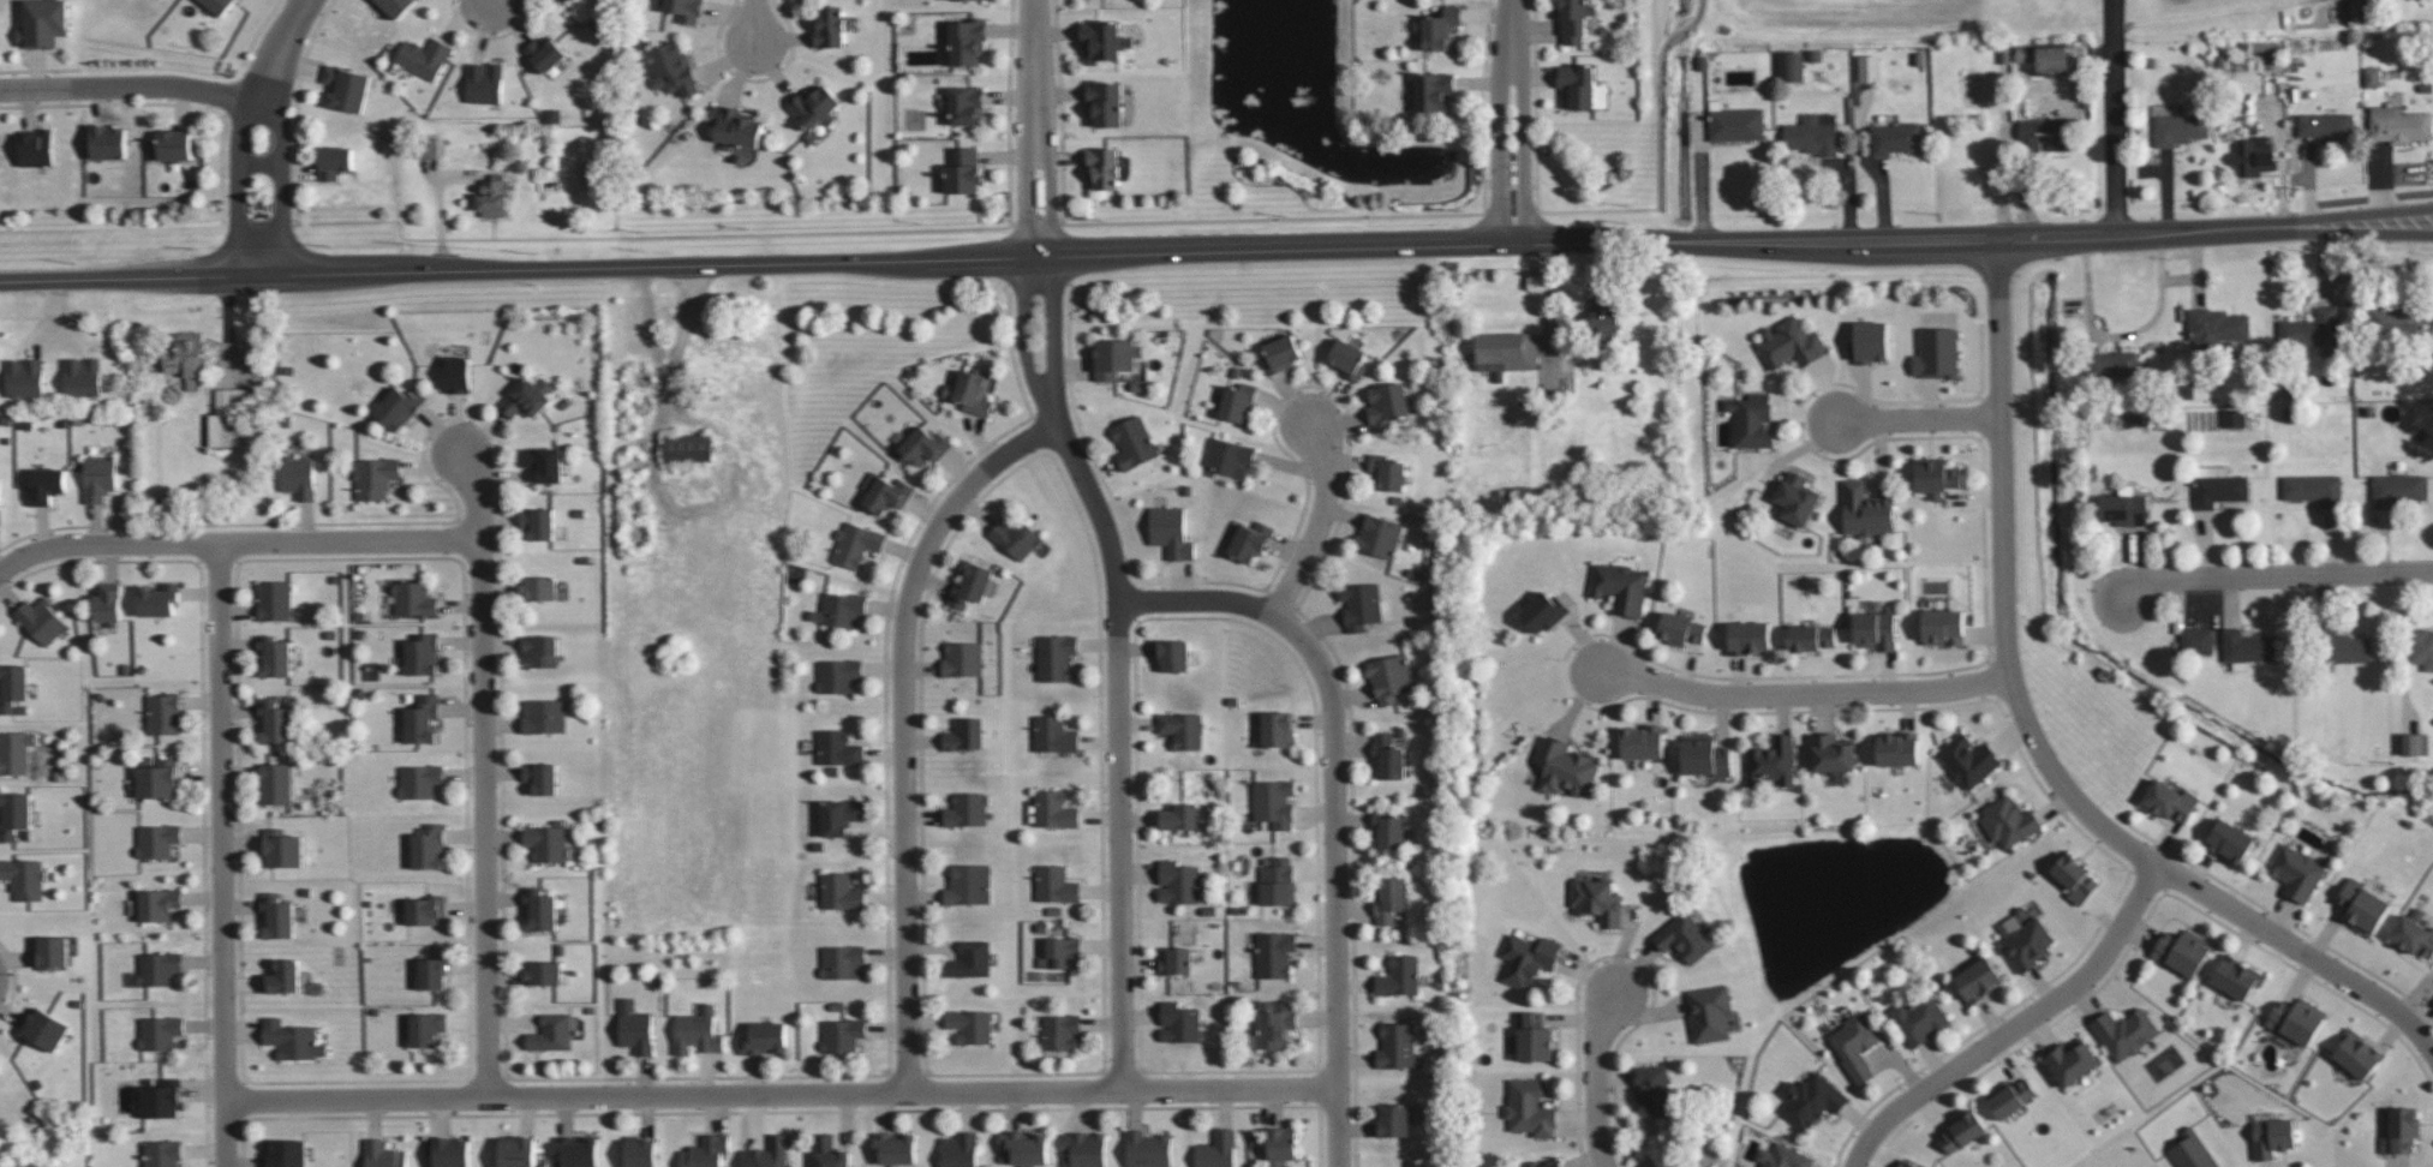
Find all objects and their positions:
building: (551, 0)
road: (492, 1)
building: (220, 5)
building: (396, 6)
building: (685, 8)
building: (1573, 18)
road: (749, 19)
building: (44, 23)
building: (830, 26)
building: (1437, 26)
building: (1102, 40)
building: (967, 41)
road: (279, 49)
building: (545, 53)
building: (2023, 53)
building: (424, 56)
building: (2052, 60)
building: (1793, 66)
building: (1867, 67)
building: (674, 68)
building: (2373, 77)
building: (485, 82)
building: (1578, 84)
building: (346, 88)
road: (133, 89)
building: (1433, 90)
road: (1662, 100)
building: (1105, 102)
building: (964, 104)
building: (815, 106)
road: (2112, 116)
road: (1500, 122)
building: (1735, 124)
building: (2326, 125)
building: (2399, 125)
building: (735, 126)
road: (1036, 128)
building: (2178, 128)
building: (1813, 133)
building: (2045, 133)
building: (1894, 138)
building: (108, 142)
building: (174, 144)
building: (37, 146)
building: (430, 146)
building: (2255, 155)
road: (259, 162)
building: (334, 162)
building: (1104, 167)
building: (964, 172)
building: (591, 174)
road: (235, 187)
road: (282, 187)
building: (494, 196)
road: (1580, 209)
road: (2360, 213)
road: (2361, 229)
road: (1144, 255)
building: (2395, 317)
building: (1603, 318)
building: (2218, 328)
building: (2312, 328)
building: (1869, 341)
building: (1791, 342)
building: (1507, 351)
road: (677, 353)
building: (1280, 353)
building: (1936, 353)
building: (1116, 357)
building: (187, 359)
building: (1347, 359)
building: (2112, 364)
building: (458, 375)
building: (82, 376)
building: (25, 377)
building: (972, 391)
building: (527, 397)
building: (1237, 399)
building: (1387, 403)
building: (400, 406)
building: (228, 418)
road: (1918, 418)
building: (2232, 418)
building: (1751, 419)
building: (1134, 441)
building: (925, 444)
building: (688, 447)
building: (1227, 457)
building: (544, 461)
building: (1387, 472)
building: (375, 475)
building: (1936, 475)
building: (98, 477)
building: (298, 477)
building: (46, 484)
building: (2218, 486)
building: (2314, 489)
building: (2399, 489)
building: (886, 492)
building: (1795, 497)
building: (1865, 509)
building: (2124, 509)
building: (0, 515)
building: (538, 521)
road: (1319, 522)
building: (1171, 531)
building: (1379, 535)
building: (1016, 537)
road: (235, 540)
building: (1250, 540)
building: (856, 543)
road: (2276, 575)
building: (972, 583)
building: (539, 587)
building: (1620, 587)
building: (414, 598)
building: (159, 599)
building: (274, 599)
building: (108, 604)
building: (1361, 604)
building: (839, 609)
building: (1543, 611)
building: (41, 620)
building: (1942, 627)
building: (1681, 629)
building: (1875, 629)
building: (1811, 636)
building: (1748, 638)
building: (2196, 641)
building: (2247, 647)
building: (2422, 647)
building: (2348, 648)
building: (540, 650)
building: (423, 654)
building: (1173, 654)
road: (2008, 654)
building: (275, 656)
building: (1056, 657)
building: (963, 658)
road: (1118, 665)
building: (838, 675)
building: (1388, 677)
building: (12, 686)
road: (1805, 690)
building: (165, 713)
building: (544, 717)
building: (423, 718)
building: (275, 720)
road: (903, 725)
building: (1183, 729)
building: (1277, 729)
building: (966, 734)
building: (1054, 735)
building: (1643, 741)
building: (2414, 743)
building: (838, 747)
building: (1897, 748)
building: (14, 752)
building: (1830, 752)
building: (1705, 755)
building: (1388, 756)
building: (1968, 760)
building: (1771, 761)
building: (1564, 767)
road: (479, 771)
building: (542, 777)
building: (156, 779)
building: (419, 780)
building: (276, 783)
road: (1333, 800)
building: (2169, 800)
building: (1273, 802)
building: (967, 809)
building: (1054, 809)
building: (13, 814)
building: (841, 815)
building: (1180, 816)
building: (2009, 821)
building: (1388, 828)
building: (157, 839)
building: (2230, 840)
building: (548, 842)
building: (429, 846)
building: (282, 848)
road: (223, 854)
building: (2296, 872)
building: (24, 876)
building: (2074, 876)
building: (1278, 880)
building: (1179, 881)
building: (968, 884)
building: (1056, 884)
building: (841, 891)
building: (1389, 898)
building: (1597, 900)
building: (159, 904)
building: (2362, 905)
building: (425, 909)
building: (539, 909)
building: (276, 915)
building: (2413, 935)
building: (1685, 936)
building: (2027, 944)
building: (2182, 950)
building: (52, 951)
building: (1062, 952)
building: (1274, 953)
building: (970, 958)
building: (1529, 958)
building: (843, 960)
building: (1177, 960)
building: (159, 968)
building: (430, 972)
building: (544, 972)
building: (281, 976)
building: (1400, 976)
building: (2236, 976)
building: (1977, 979)
road: (2367, 989)
building: (1709, 1012)
building: (1918, 1018)
building: (2297, 1019)
building: (1179, 1022)
building: (1275, 1022)
building: (970, 1024)
road: (2014, 1025)
building: (635, 1027)
building: (44, 1028)
building: (424, 1028)
building: (160, 1031)
building: (552, 1031)
building: (697, 1031)
building: (1062, 1031)
building: (2124, 1031)
building: (842, 1034)
building: (1534, 1035)
building: (765, 1037)
building: (293, 1039)
building: (1855, 1043)
building: (1395, 1046)
building: (2357, 1052)
building: (2070, 1060)
road: (1597, 1078)
building: (1652, 1089)
road: (781, 1093)
building: (2009, 1096)
building: (163, 1099)
building: (1811, 1099)
building: (1530, 1107)
building: (1394, 1120)
building: (1962, 1130)
building: (2401, 1130)
building: (2272, 1137)
building: (1283, 1143)
building: (895, 1147)
building: (1024, 1147)
building: (961, 1149)
building: (1084, 1149)
building: (1148, 1149)
building: (1218, 1149)
building: (578, 1150)
building: (449, 1151)
building: (518, 1151)
building: (706, 1151)
building: (830, 1151)
building: (2193, 1151)
building: (162, 1153)
building: (285, 1153)
building: (641, 1153)
building: (771, 1153)
building: (383, 1155)
building: (1785, 1156)
building: (1535, 1162)
building: (1907, 1163)

